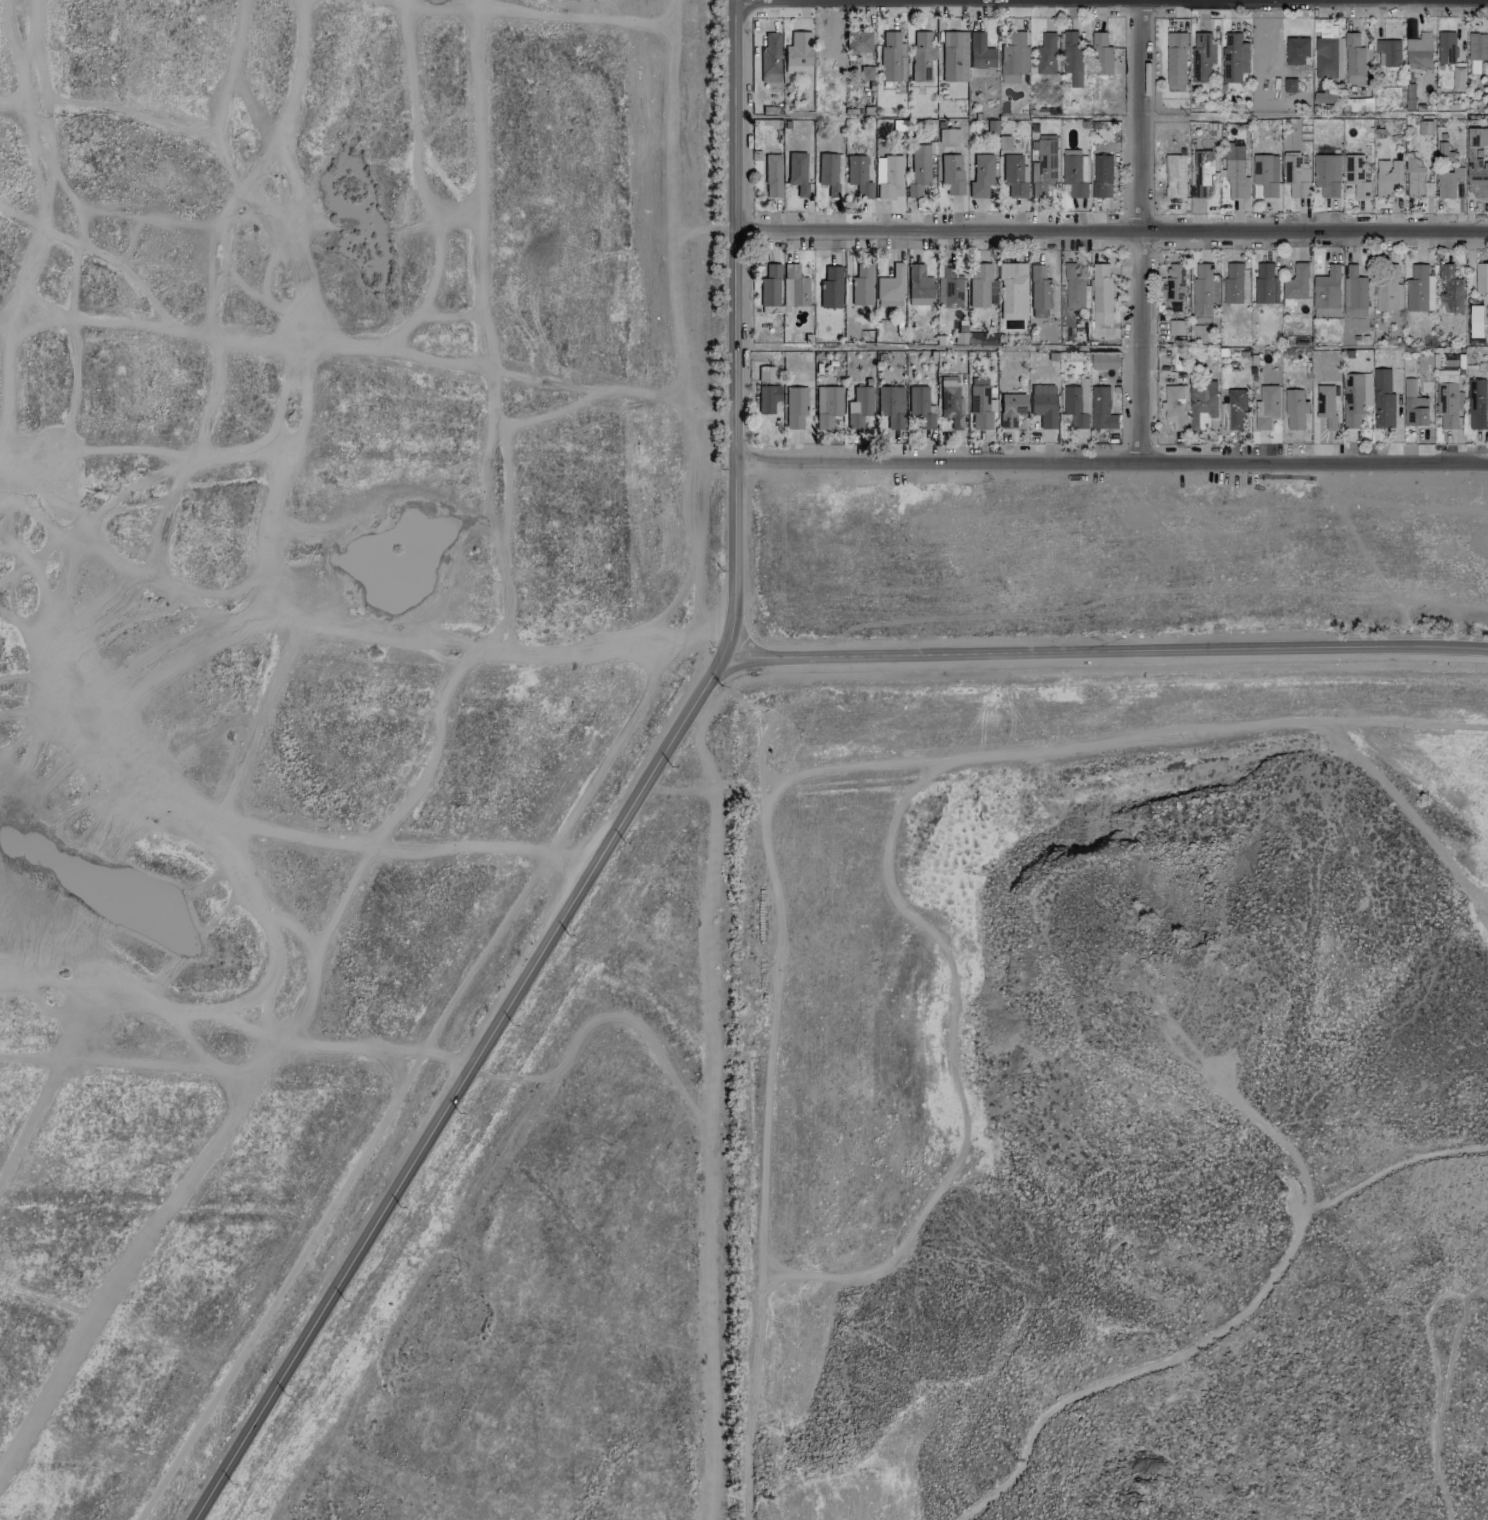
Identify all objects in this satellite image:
road: (1112, 1)
building: (859, 42)
building: (1478, 46)
building: (1446, 47)
building: (1418, 49)
building: (1296, 50)
building: (798, 51)
building: (1388, 51)
building: (980, 52)
building: (1046, 54)
building: (1101, 54)
building: (922, 56)
building: (954, 56)
building: (1013, 56)
building: (1202, 56)
building: (892, 57)
building: (1072, 57)
building: (1234, 57)
building: (1325, 57)
building: (770, 58)
building: (1353, 59)
building: (1175, 61)
building: (1476, 67)
building: (1289, 85)
building: (1325, 97)
road: (1277, 115)
building: (1424, 127)
building: (949, 136)
building: (1444, 152)
building: (1476, 163)
building: (1044, 166)
building: (919, 170)
building: (797, 172)
building: (828, 172)
building: (1202, 172)
building: (952, 173)
building: (1236, 173)
building: (1265, 174)
building: (1327, 174)
building: (773, 175)
building: (858, 175)
building: (1075, 175)
building: (1296, 175)
building: (1356, 175)
building: (982, 176)
building: (1014, 176)
building: (1102, 176)
building: (1175, 176)
building: (891, 177)
building: (1388, 177)
building: (1416, 178)
building: (1448, 182)
road: (1135, 229)
road: (1108, 234)
building: (1481, 278)
building: (1175, 282)
building: (1233, 283)
building: (1263, 283)
building: (1296, 283)
building: (797, 285)
building: (862, 285)
building: (979, 285)
building: (770, 286)
building: (919, 286)
building: (890, 287)
building: (1073, 287)
building: (831, 288)
building: (949, 288)
building: (1204, 289)
building: (1388, 289)
building: (1419, 289)
building: (1450, 290)
building: (1013, 291)
building: (1039, 292)
building: (1354, 292)
building: (1326, 293)
building: (1101, 294)
building: (1475, 321)
building: (1176, 327)
road: (732, 328)
building: (1487, 330)
building: (980, 339)
building: (1104, 361)
building: (766, 373)
building: (1446, 396)
building: (768, 398)
building: (1355, 398)
building: (1383, 398)
building: (950, 400)
building: (1076, 404)
building: (1476, 404)
building: (891, 405)
building: (1044, 405)
building: (1326, 405)
building: (1414, 405)
building: (827, 406)
building: (1175, 406)
building: (795, 407)
building: (859, 407)
building: (920, 407)
building: (979, 407)
building: (1266, 407)
building: (1235, 408)
building: (1011, 409)
building: (1101, 409)
building: (1295, 409)
road: (935, 460)
road: (1311, 461)
road: (1110, 654)
road: (1406, 722)
road: (788, 779)
road: (465, 1089)
road: (1469, 1147)
road: (1295, 1168)
road: (1140, 1370)
road: (1435, 1382)

